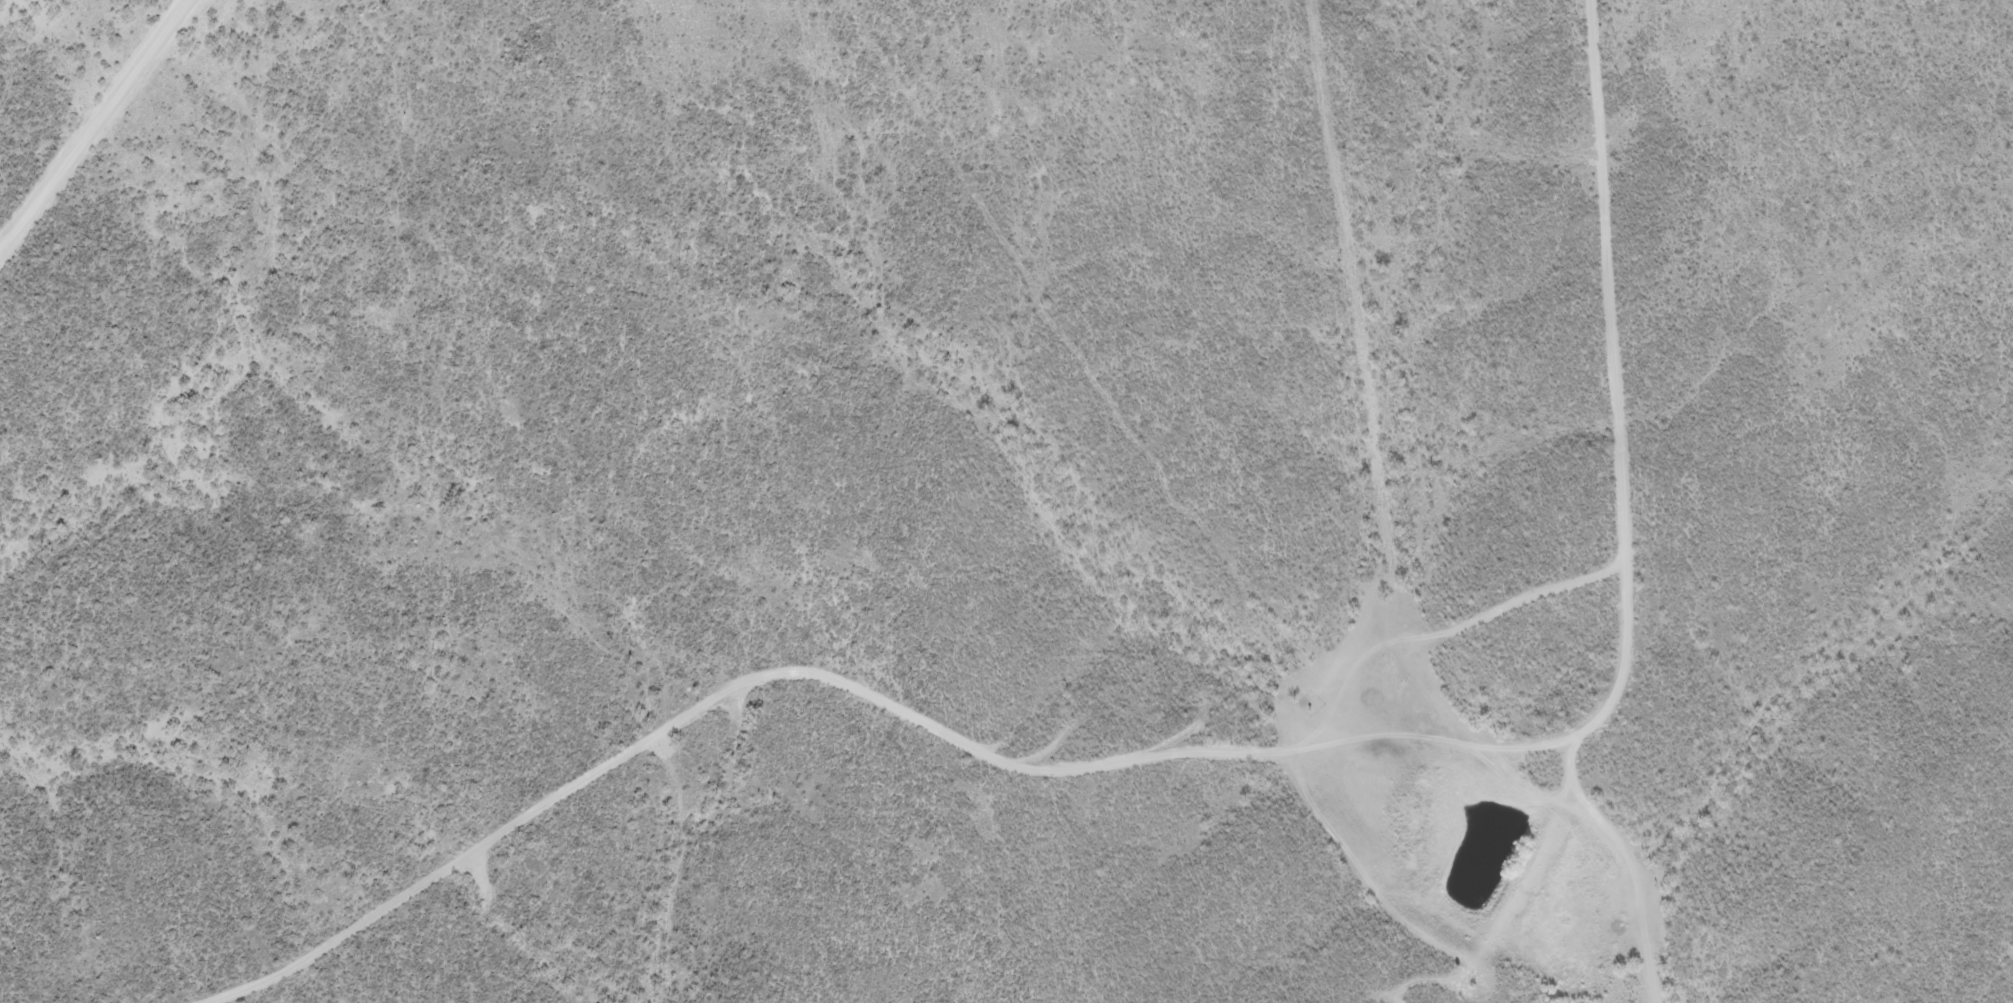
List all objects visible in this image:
road: (93, 119)
road: (1214, 751)
road: (1632, 852)
road: (1438, 907)

